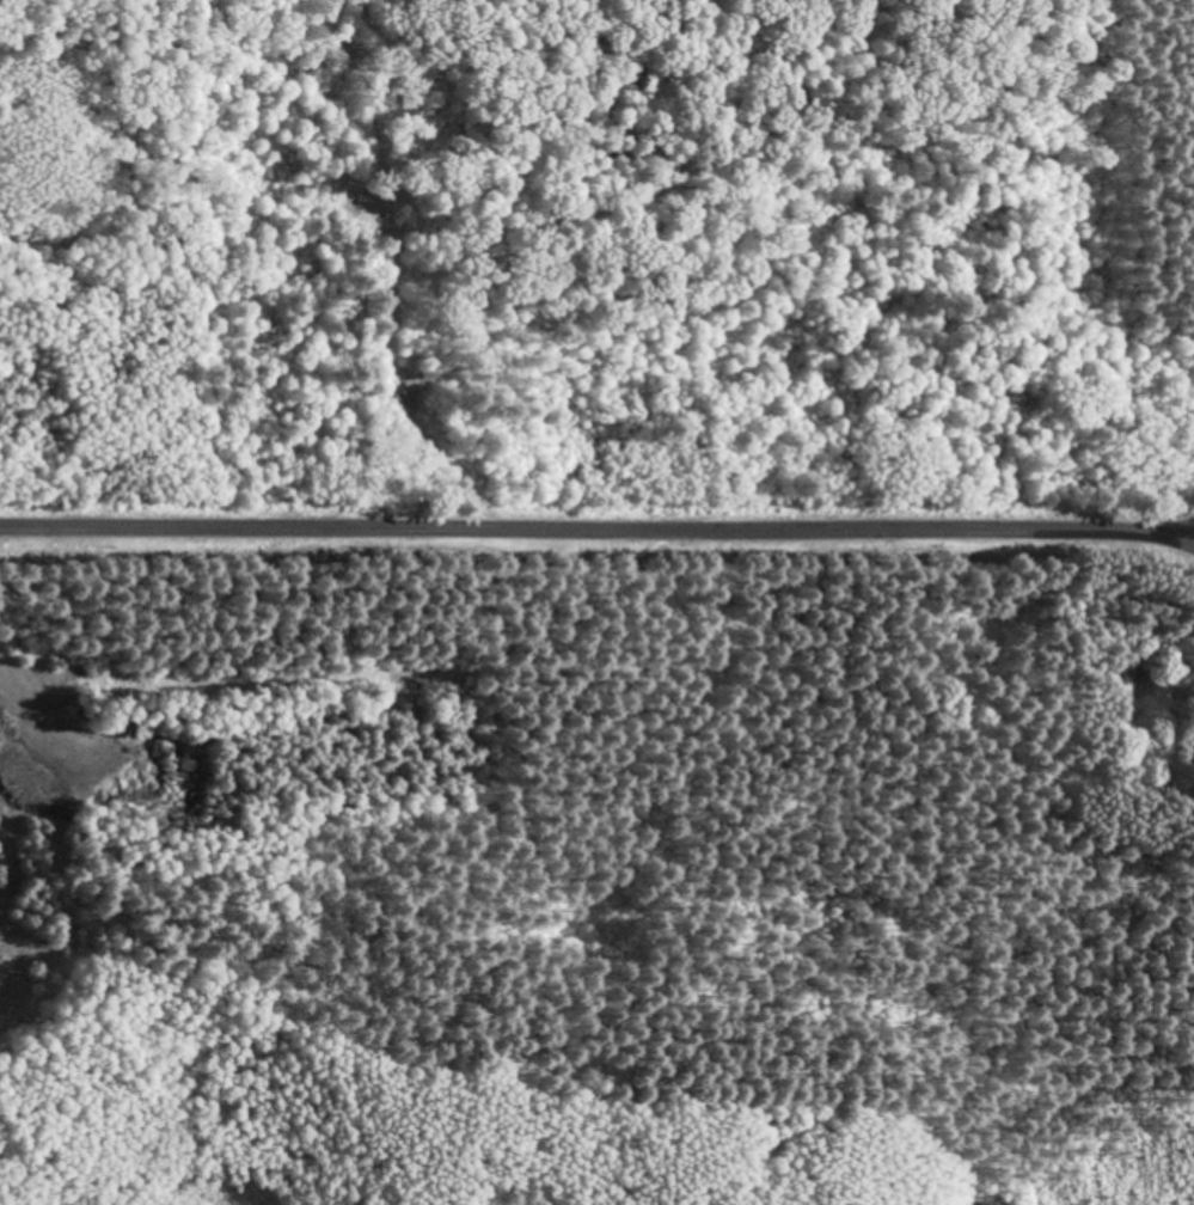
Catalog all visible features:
road: (599, 527)

